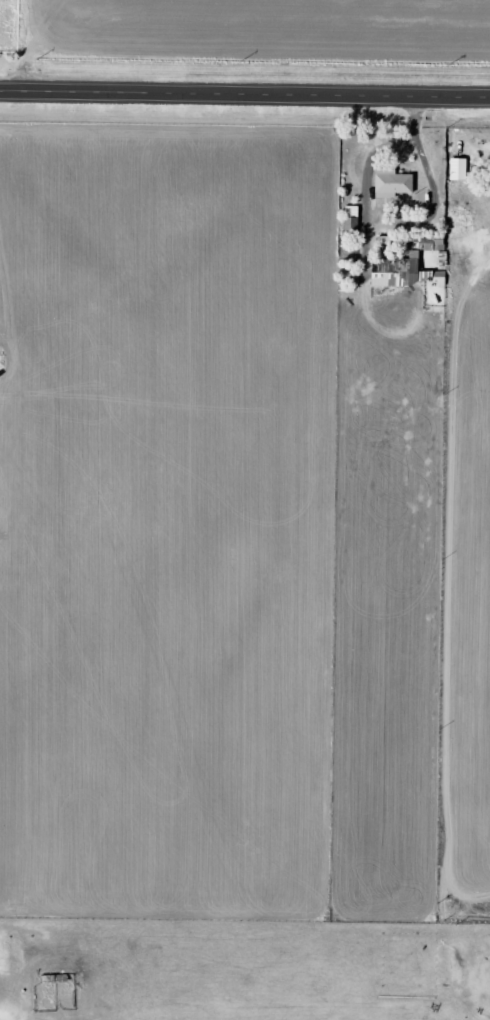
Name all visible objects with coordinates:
road: (245, 97)
building: (462, 170)
building: (398, 184)
building: (355, 212)
building: (413, 269)

